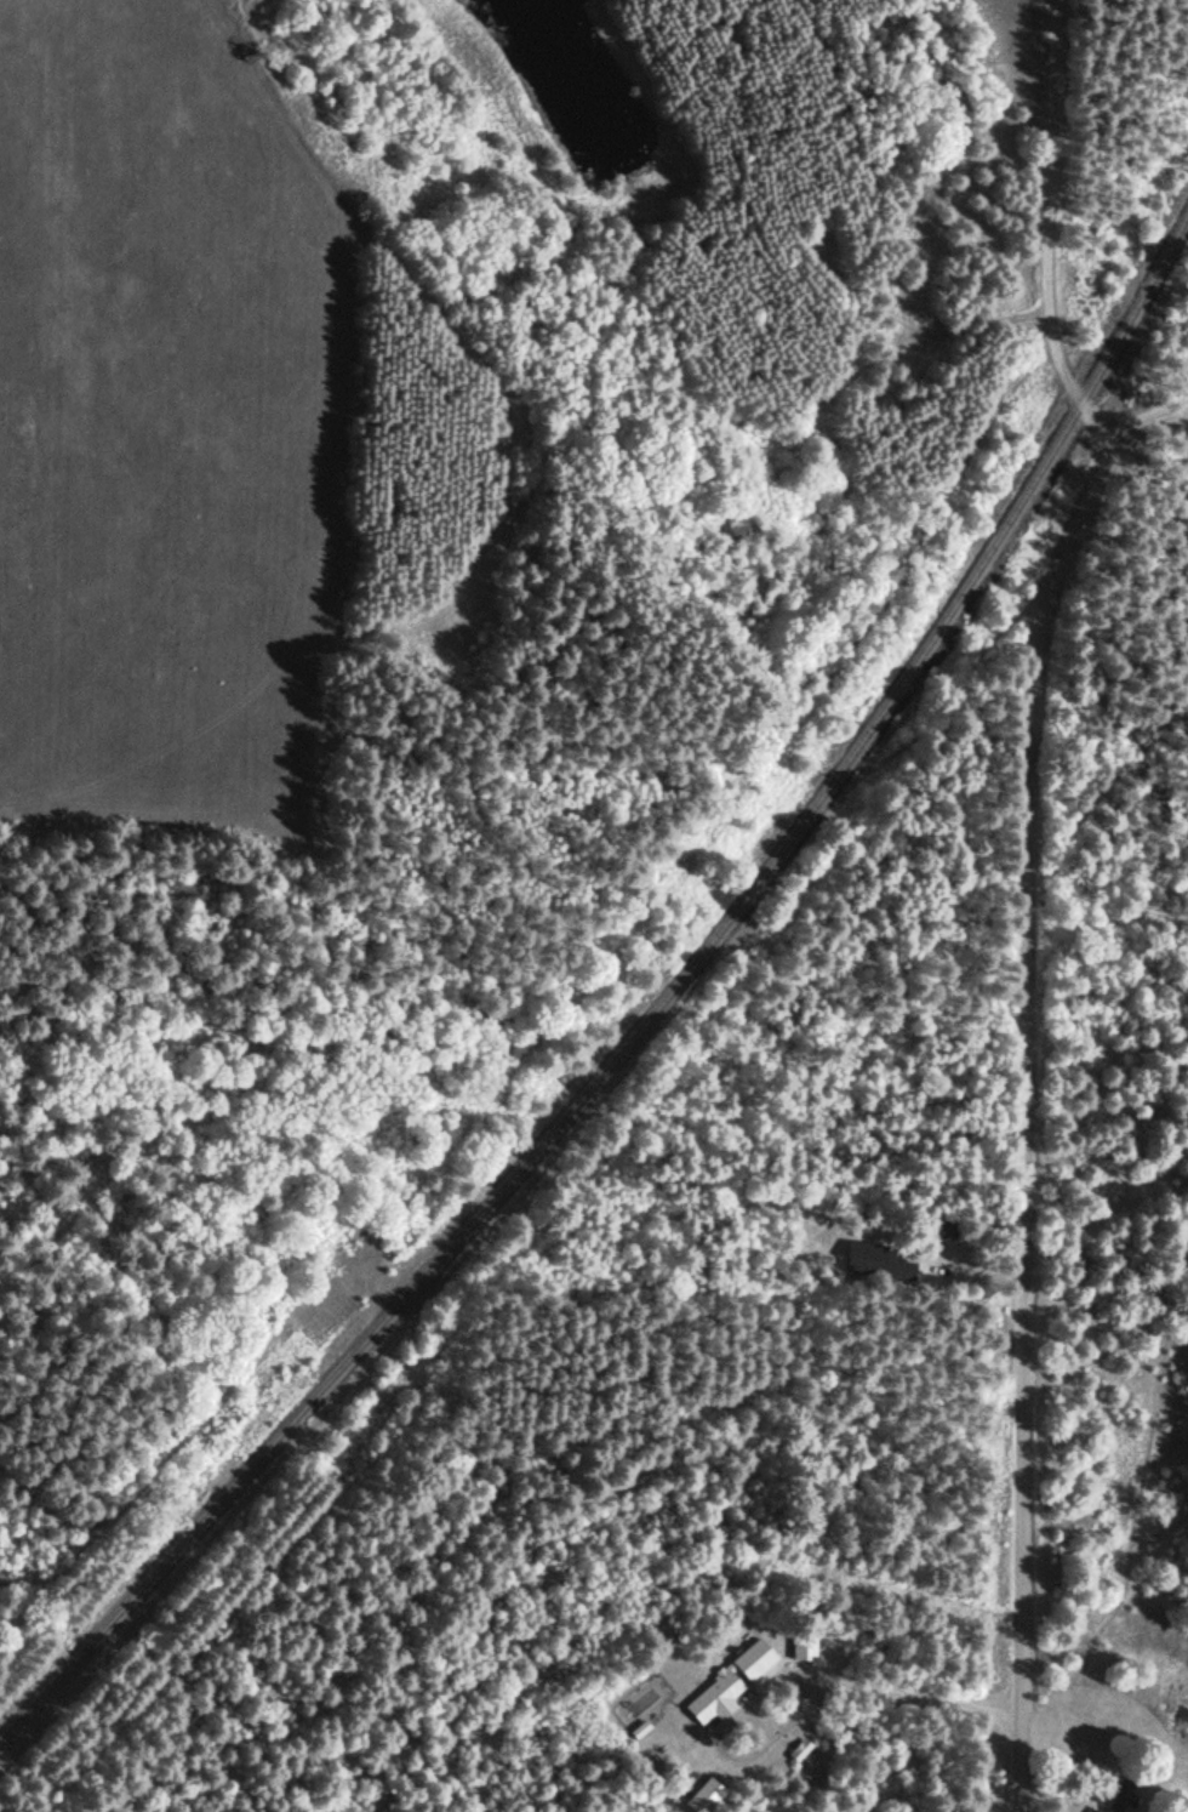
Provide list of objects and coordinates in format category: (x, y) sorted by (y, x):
road: (1144, 420)
road: (1034, 890)
railway: (646, 1018)
road: (1109, 1069)
building: (872, 1261)
building: (800, 1647)
building: (729, 1679)
building: (1178, 1727)
building: (1116, 1795)

